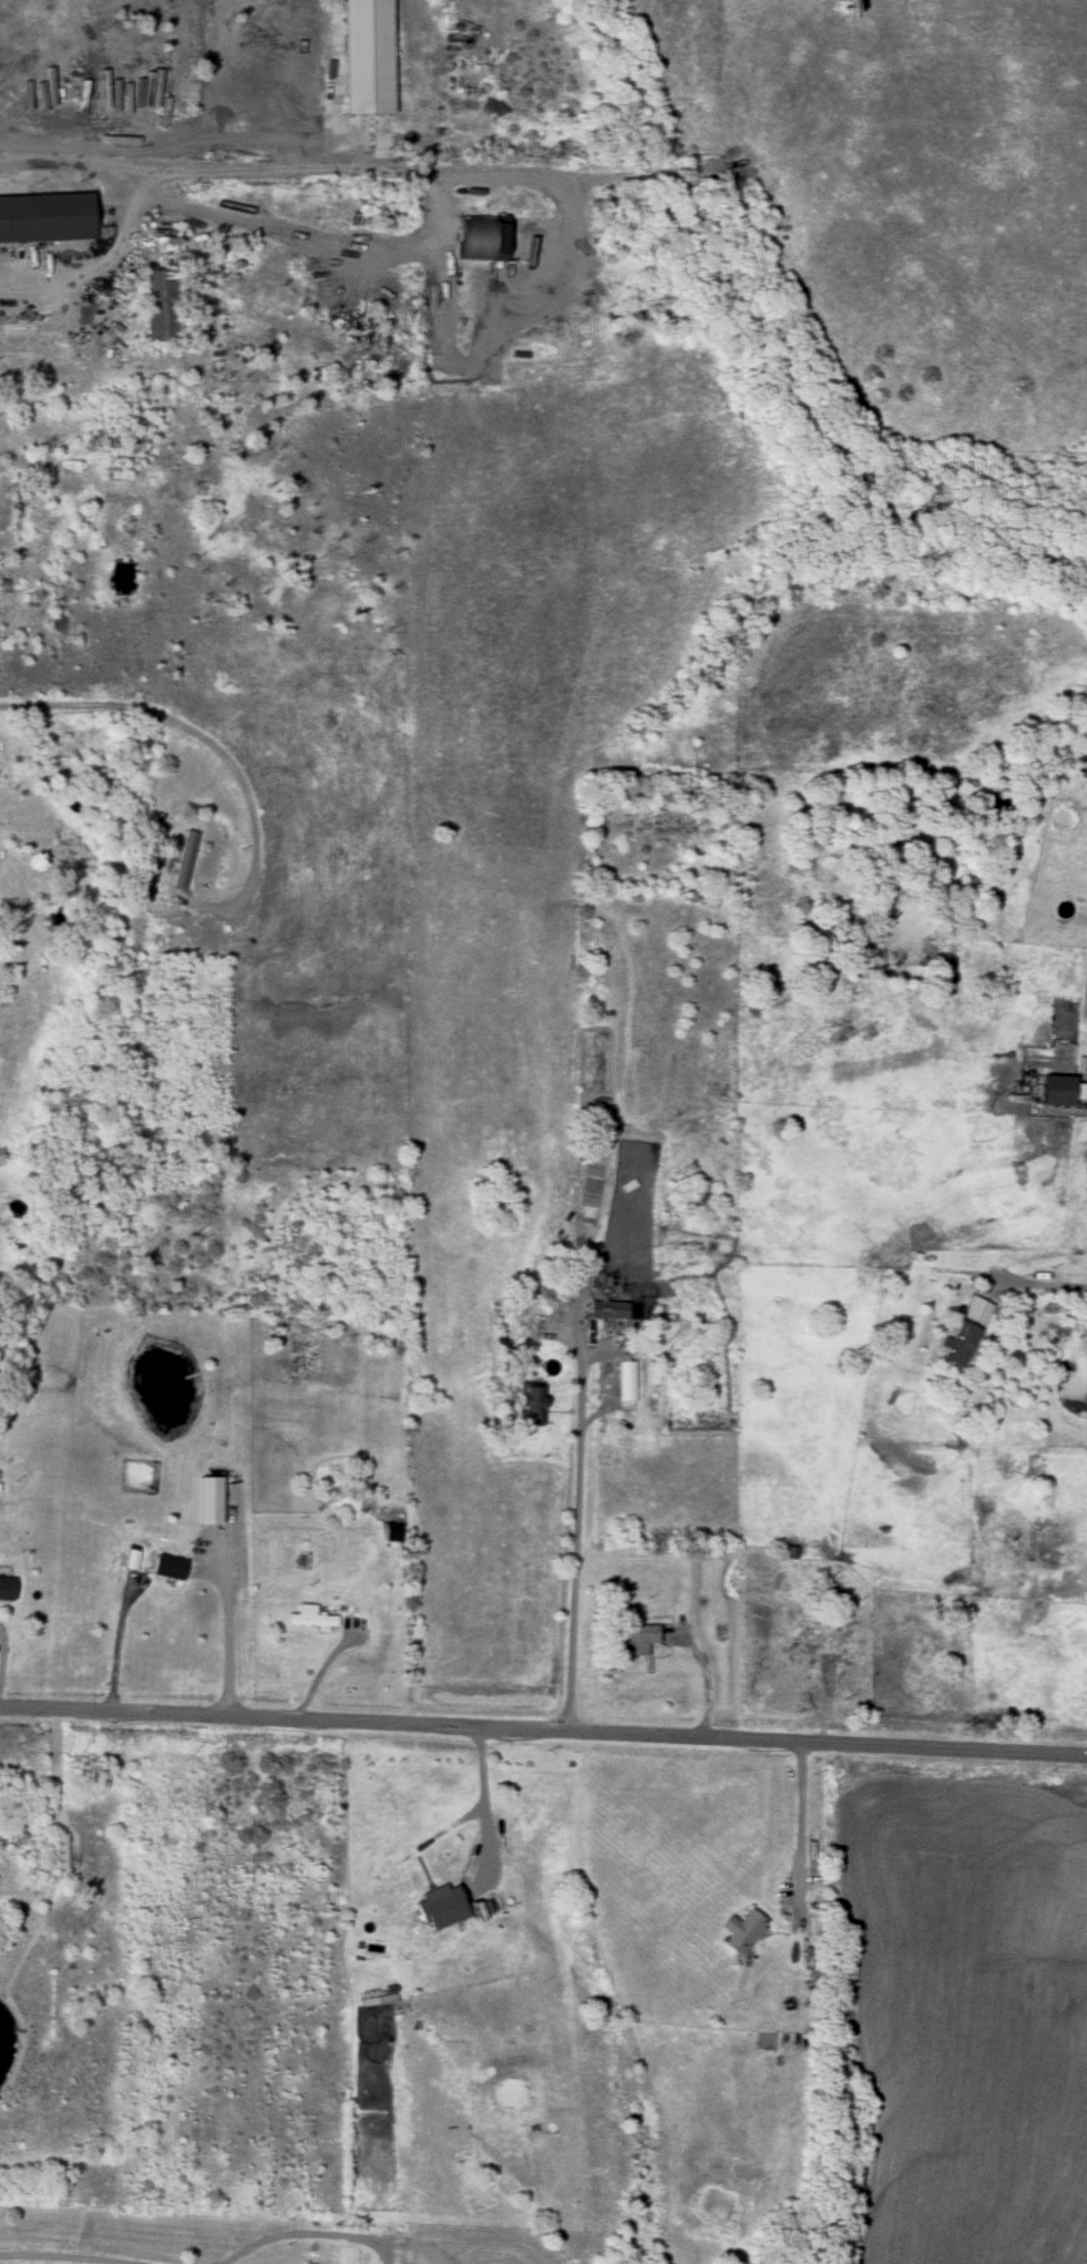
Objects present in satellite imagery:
building: (361, 58)
road: (286, 165)
road: (140, 206)
building: (42, 218)
road: (293, 232)
building: (479, 237)
road: (568, 243)
road: (443, 256)
building: (156, 306)
road: (219, 755)
building: (182, 860)
building: (1086, 1177)
road: (1039, 1279)
building: (607, 1311)
building: (972, 1312)
building: (956, 1344)
building: (208, 1501)
road: (575, 1534)
building: (131, 1561)
building: (166, 1569)
building: (7, 1589)
building: (309, 1619)
building: (634, 1636)
road: (117, 1642)
road: (222, 1643)
building: (806, 1643)
road: (2, 1656)
road: (543, 1725)
road: (475, 1801)
building: (53, 1856)
road: (797, 1869)
road: (28, 1895)
building: (441, 1907)
building: (741, 1932)
road: (65, 2253)

